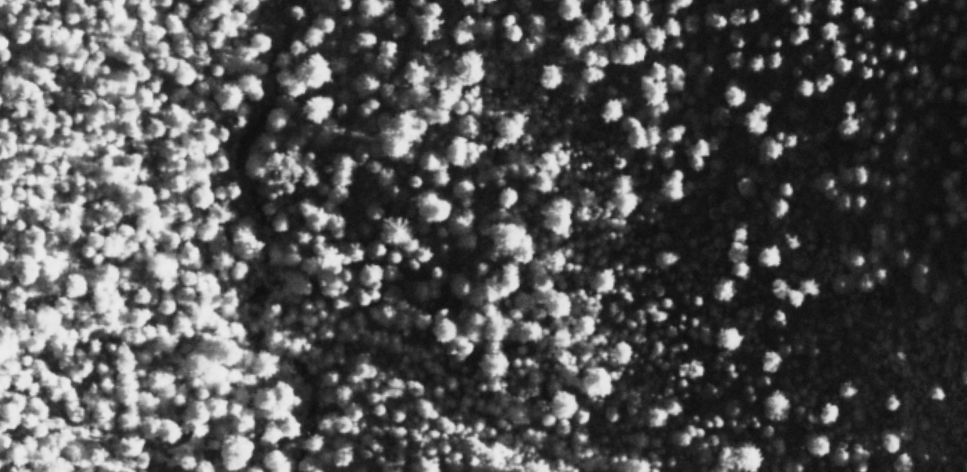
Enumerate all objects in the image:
road: (922, 137)

